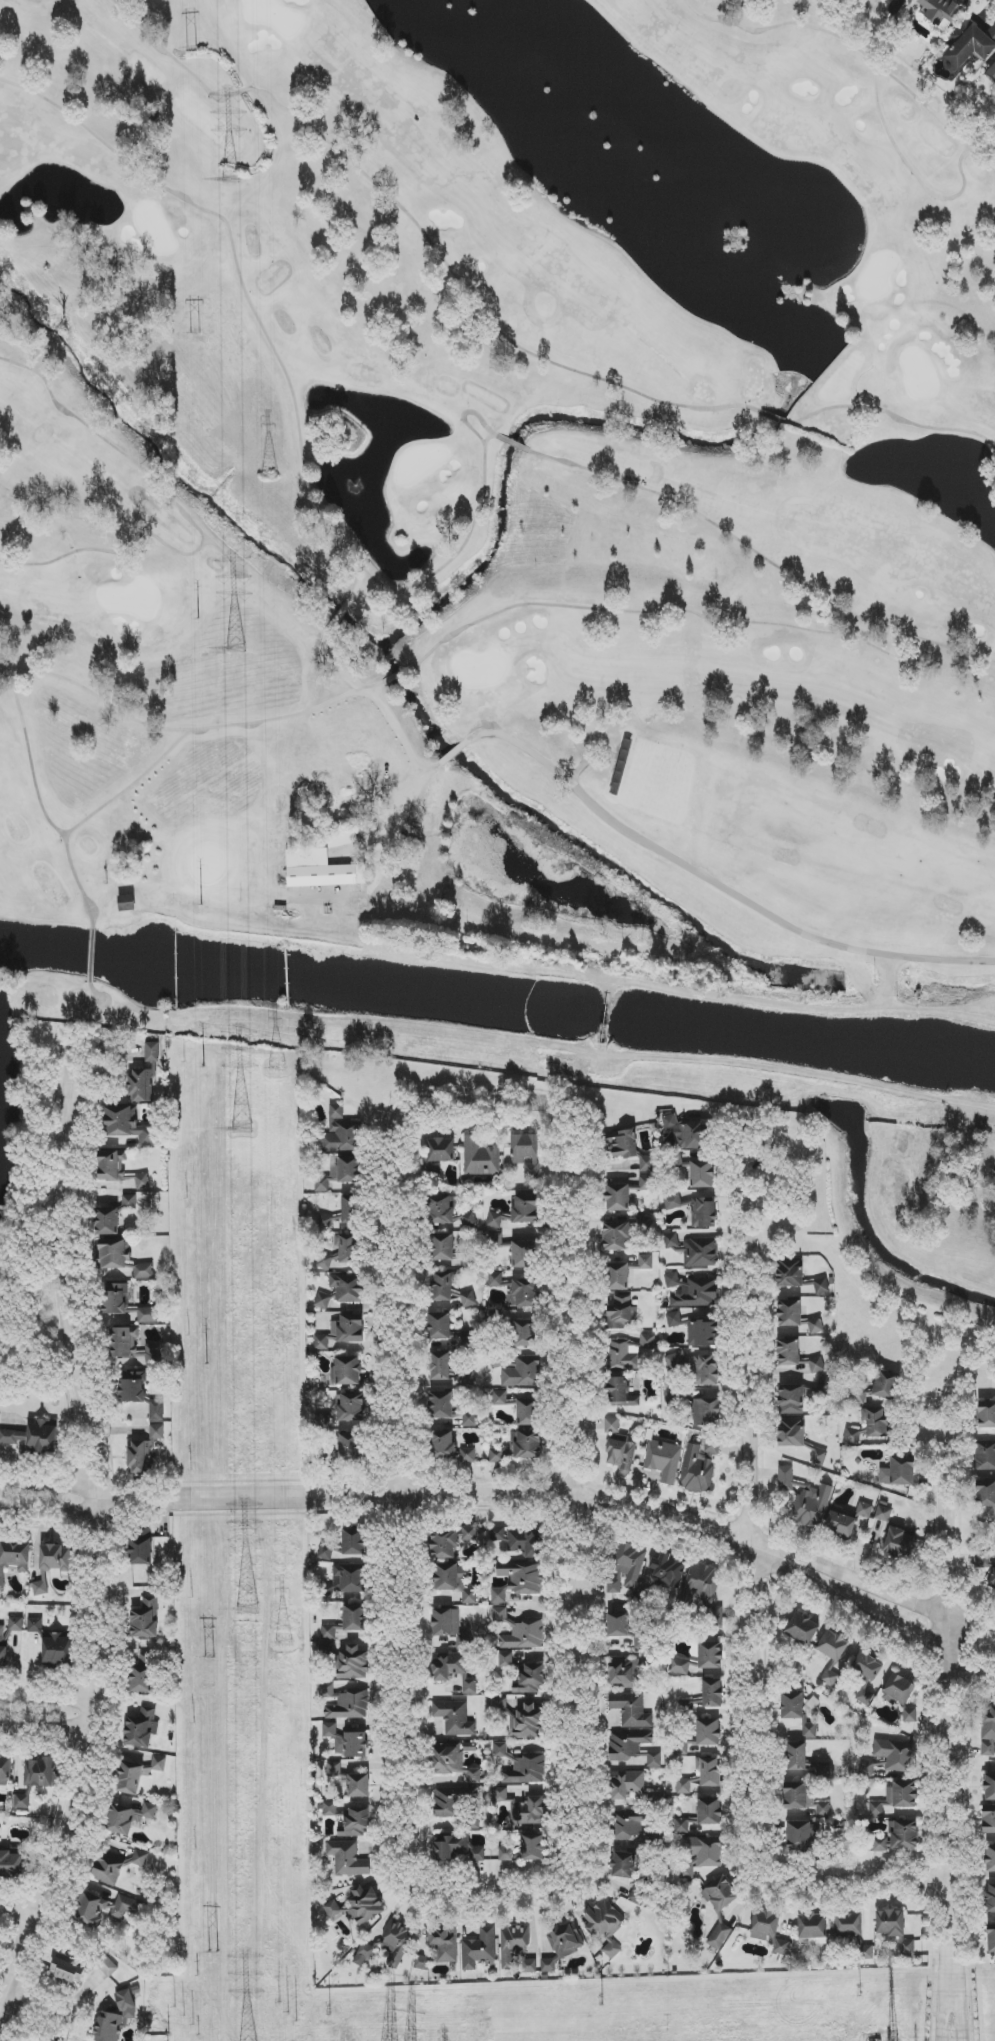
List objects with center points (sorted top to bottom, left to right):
building: (940, 12)
building: (992, 30)
building: (967, 45)
power tower: (192, 47)
road: (855, 48)
building: (992, 69)
road: (912, 170)
power tower: (230, 180)
road: (423, 232)
road: (246, 291)
power tower: (195, 333)
road: (466, 412)
road: (893, 416)
power tower: (271, 480)
park: (496, 513)
road: (188, 518)
road: (461, 548)
road: (223, 551)
road: (762, 557)
road: (339, 616)
road: (703, 616)
power tower: (237, 648)
road: (336, 664)
road: (399, 674)
road: (98, 696)
road: (397, 729)
road: (167, 751)
road: (454, 752)
road: (30, 754)
road: (405, 808)
building: (342, 839)
building: (320, 872)
road: (715, 885)
building: (127, 903)
road: (91, 955)
road: (94, 991)
road: (781, 1069)
power tower: (277, 1070)
building: (145, 1075)
road: (484, 1099)
road: (979, 1106)
power tower: (244, 1123)
building: (129, 1125)
building: (343, 1131)
building: (689, 1133)
road: (958, 1138)
building: (623, 1145)
building: (441, 1150)
building: (526, 1154)
building: (480, 1157)
building: (647, 1164)
building: (111, 1165)
building: (341, 1173)
building: (702, 1174)
building: (143, 1181)
building: (645, 1183)
building: (617, 1198)
building: (129, 1202)
building: (672, 1202)
building: (351, 1210)
building: (441, 1210)
building: (525, 1210)
building: (702, 1213)
building: (494, 1220)
building: (642, 1224)
building: (616, 1236)
building: (673, 1242)
building: (444, 1247)
building: (339, 1252)
building: (701, 1253)
building: (114, 1254)
building: (523, 1254)
building: (143, 1271)
building: (790, 1273)
building: (619, 1277)
building: (495, 1279)
building: (822, 1286)
building: (442, 1287)
building: (347, 1288)
building: (693, 1292)
building: (524, 1294)
building: (466, 1298)
building: (323, 1301)
building: (622, 1313)
building: (148, 1315)
building: (796, 1316)
building: (674, 1319)
building: (440, 1325)
building: (342, 1332)
building: (524, 1333)
building: (702, 1334)
building: (467, 1340)
building: (647, 1342)
building: (133, 1346)
building: (789, 1353)
building: (625, 1356)
building: (676, 1360)
building: (816, 1365)
building: (441, 1366)
building: (706, 1370)
building: (346, 1371)
building: (523, 1373)
building: (466, 1378)
building: (133, 1387)
building: (886, 1387)
building: (620, 1393)
building: (861, 1396)
building: (500, 1398)
building: (791, 1398)
building: (442, 1405)
building: (350, 1407)
building: (156, 1410)
building: (528, 1412)
building: (709, 1412)
building: (986, 1415)
building: (470, 1417)
building: (322, 1422)
building: (875, 1422)
building: (791, 1433)
building: (853, 1436)
building: (33, 1438)
building: (444, 1445)
building: (517, 1448)
building: (619, 1448)
building: (343, 1449)
building: (144, 1451)
building: (468, 1455)
building: (986, 1456)
building: (819, 1457)
building: (663, 1461)
building: (701, 1465)
building: (898, 1473)
building: (985, 1492)
road: (509, 1494)
building: (806, 1500)
building: (865, 1510)
building: (883, 1514)
building: (841, 1524)
building: (469, 1533)
building: (498, 1534)
building: (355, 1540)
building: (526, 1542)
building: (898, 1543)
building: (444, 1545)
road: (104, 1547)
building: (140, 1547)
building: (326, 1551)
building: (13, 1558)
building: (55, 1559)
building: (627, 1568)
building: (668, 1571)
building: (522, 1577)
building: (350, 1579)
building: (992, 1580)
building: (454, 1581)
building: (700, 1583)
building: (40, 1586)
building: (499, 1596)
road: (754, 1597)
power tower: (250, 1611)
building: (146, 1617)
building: (348, 1622)
building: (16, 1624)
building: (35, 1625)
building: (618, 1625)
building: (450, 1626)
building: (802, 1628)
building: (519, 1631)
power tower: (285, 1641)
building: (639, 1643)
building: (833, 1646)
building: (4, 1647)
building: (58, 1650)
building: (710, 1654)
building: (506, 1660)
power tower: (210, 1661)
building: (353, 1663)
building: (679, 1666)
building: (453, 1670)
building: (624, 1673)
building: (143, 1674)
building: (866, 1676)
building: (532, 1678)
building: (830, 1678)
building: (898, 1690)
building: (712, 1693)
road: (48, 1702)
building: (345, 1703)
building: (500, 1704)
building: (793, 1706)
road: (953, 1707)
building: (631, 1710)
building: (910, 1715)
building: (455, 1718)
building: (527, 1722)
building: (141, 1728)
building: (809, 1730)
road: (46, 1731)
building: (988, 1731)
building: (708, 1732)
building: (347, 1742)
building: (500, 1749)
building: (632, 1749)
building: (895, 1756)
building: (797, 1757)
building: (454, 1762)
building: (159, 1764)
building: (334, 1769)
building: (526, 1769)
building: (5, 1771)
building: (708, 1771)
building: (39, 1773)
building: (131, 1777)
building: (626, 1784)
building: (358, 1785)
building: (685, 1785)
building: (500, 1794)
building: (896, 1799)
building: (21, 1801)
building: (453, 1802)
building: (529, 1811)
building: (702, 1815)
building: (129, 1818)
building: (989, 1819)
building: (358, 1822)
building: (630, 1829)
building: (904, 1835)
building: (799, 1836)
building: (882, 1844)
building: (457, 1850)
building: (525, 1850)
building: (698, 1856)
building: (348, 1859)
building: (990, 1859)
building: (11, 1865)
building: (623, 1865)
building: (115, 1866)
road: (494, 1890)
building: (991, 1899)
road: (23, 1902)
building: (364, 1905)
building: (106, 1909)
building: (333, 1911)
building: (604, 1919)
building: (848, 1924)
building: (764, 1925)
building: (719, 1936)
building: (991, 1938)
building: (396, 1943)
building: (513, 1945)
building: (560, 1946)
building: (781, 1947)
building: (440, 1948)
building: (479, 1949)
building: (612, 1950)
power tower: (214, 1955)
building: (363, 1955)
building: (529, 1966)
building: (107, 1967)
building: (68, 1971)
power tower: (860, 1991)
road: (952, 2000)
power tower: (601, 2001)
road: (42, 2008)
power tower: (328, 2011)
power tower: (288, 2013)
building: (116, 2018)
power tower: (185, 2018)

